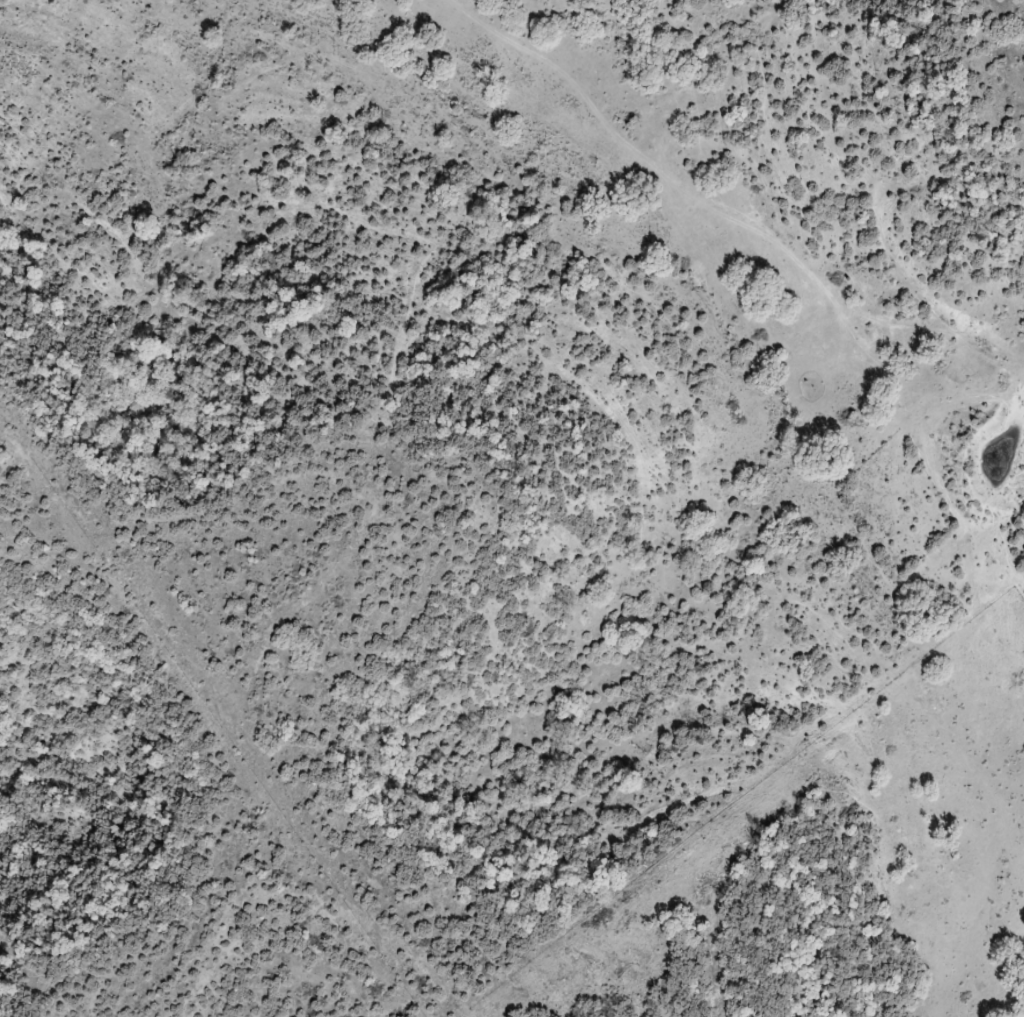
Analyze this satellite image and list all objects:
road: (741, 209)

